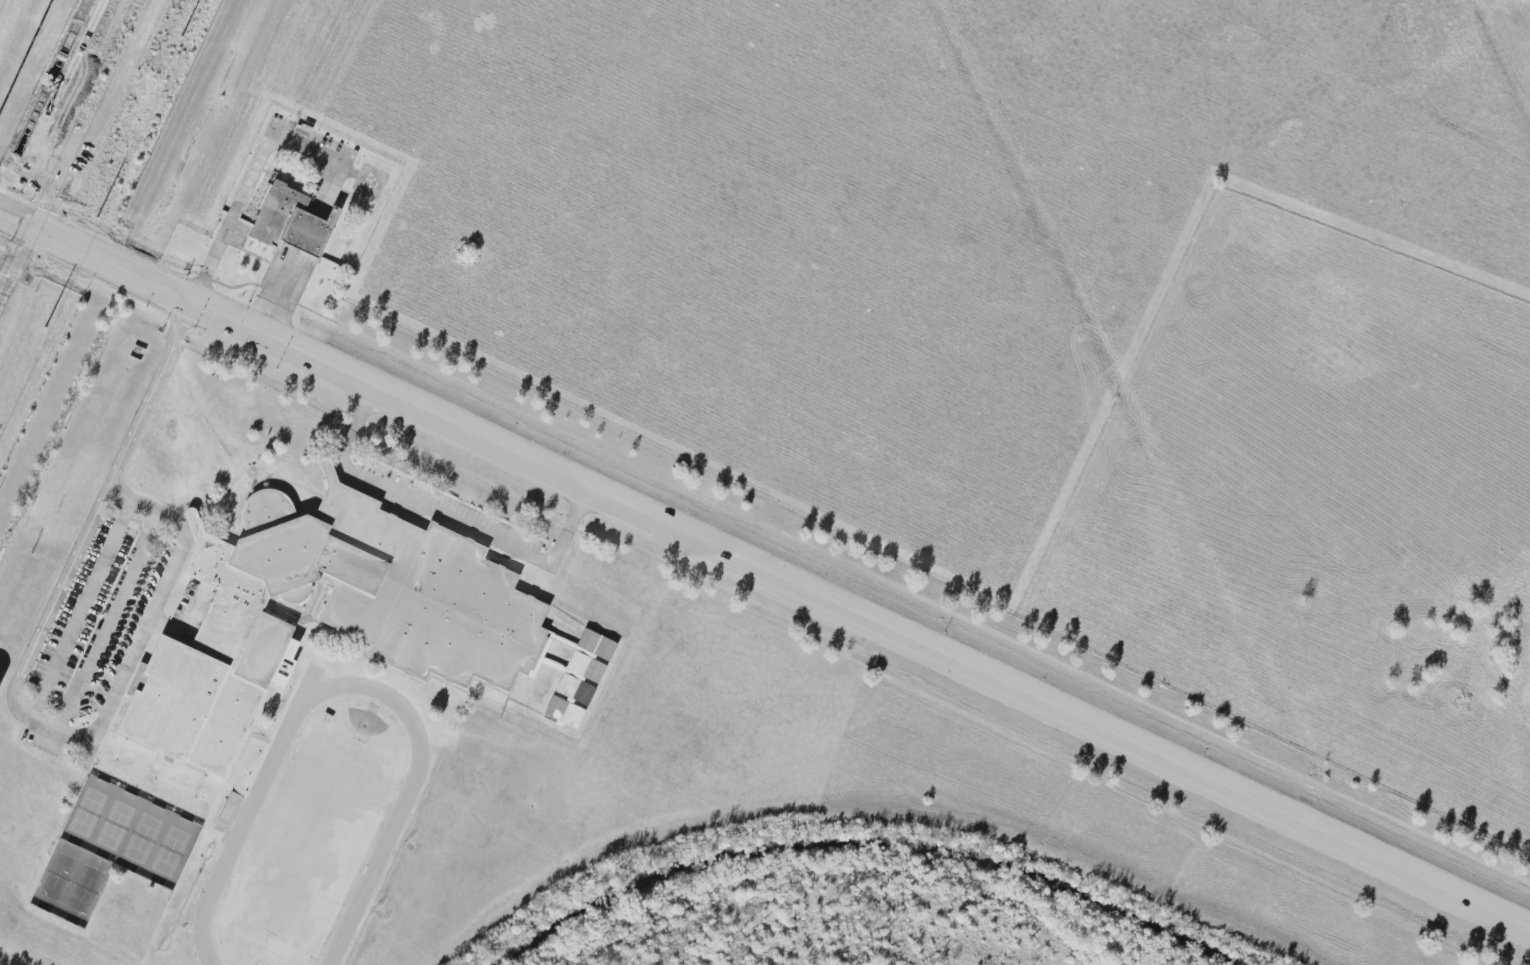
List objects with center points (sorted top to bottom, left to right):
parking lot: (312, 143)
road: (262, 160)
helipad: (373, 181)
road: (20, 219)
building: (292, 222)
road: (20, 224)
road: (152, 282)
road: (281, 292)
road: (254, 474)
parking lot: (453, 509)
road: (447, 517)
road: (503, 562)
road: (318, 602)
road: (83, 608)
building: (329, 616)
road: (108, 619)
parking lot: (102, 620)
road: (895, 635)
building: (599, 644)
road: (575, 647)
building: (588, 667)
road: (564, 670)
road: (416, 681)
building: (577, 689)
road: (17, 691)
building: (566, 710)
road: (257, 723)
road: (108, 733)
road: (263, 738)
road: (180, 763)
road: (125, 789)
track: (398, 820)

